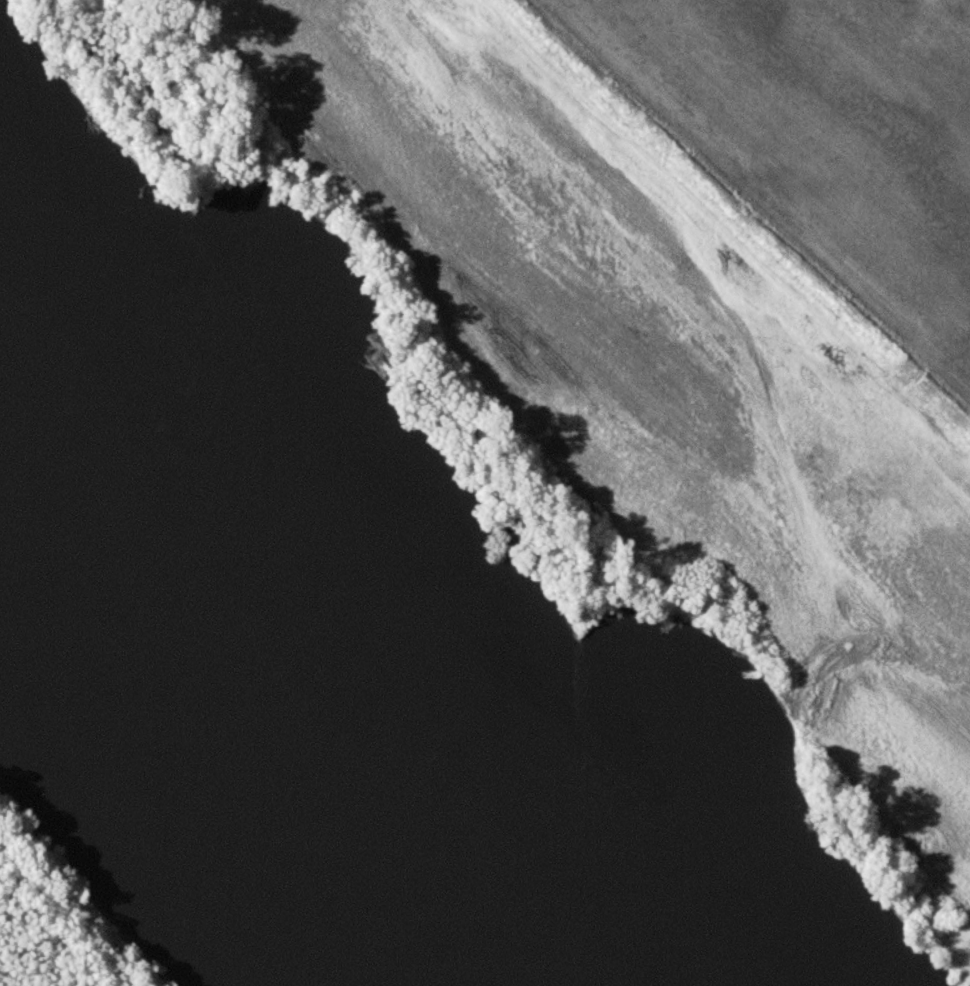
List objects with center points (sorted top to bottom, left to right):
river: (275, 698)

